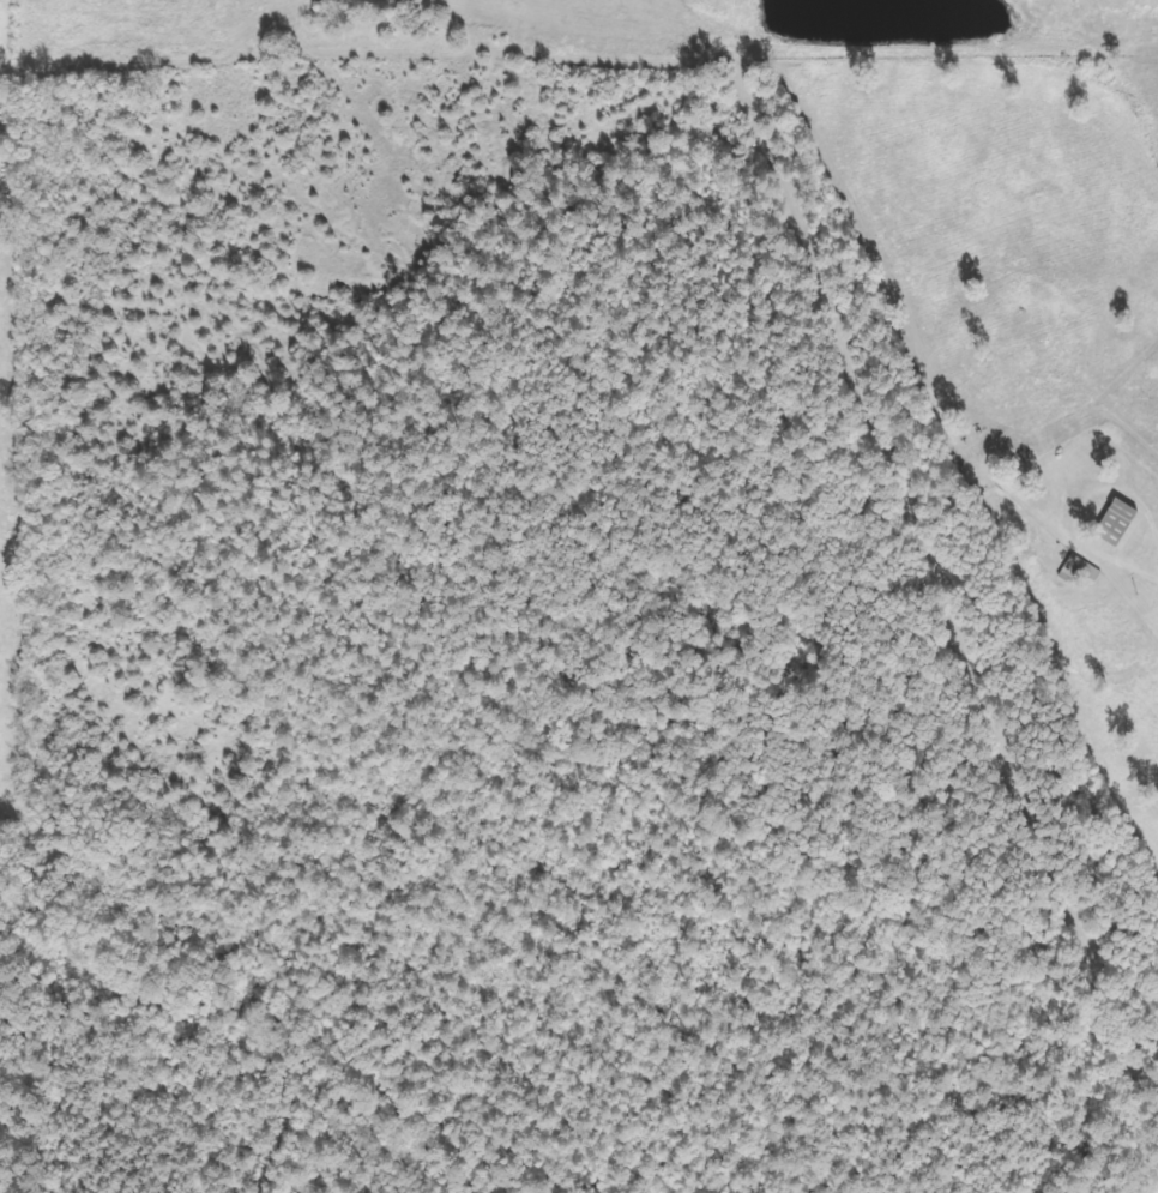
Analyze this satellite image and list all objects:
building: (1108, 522)

